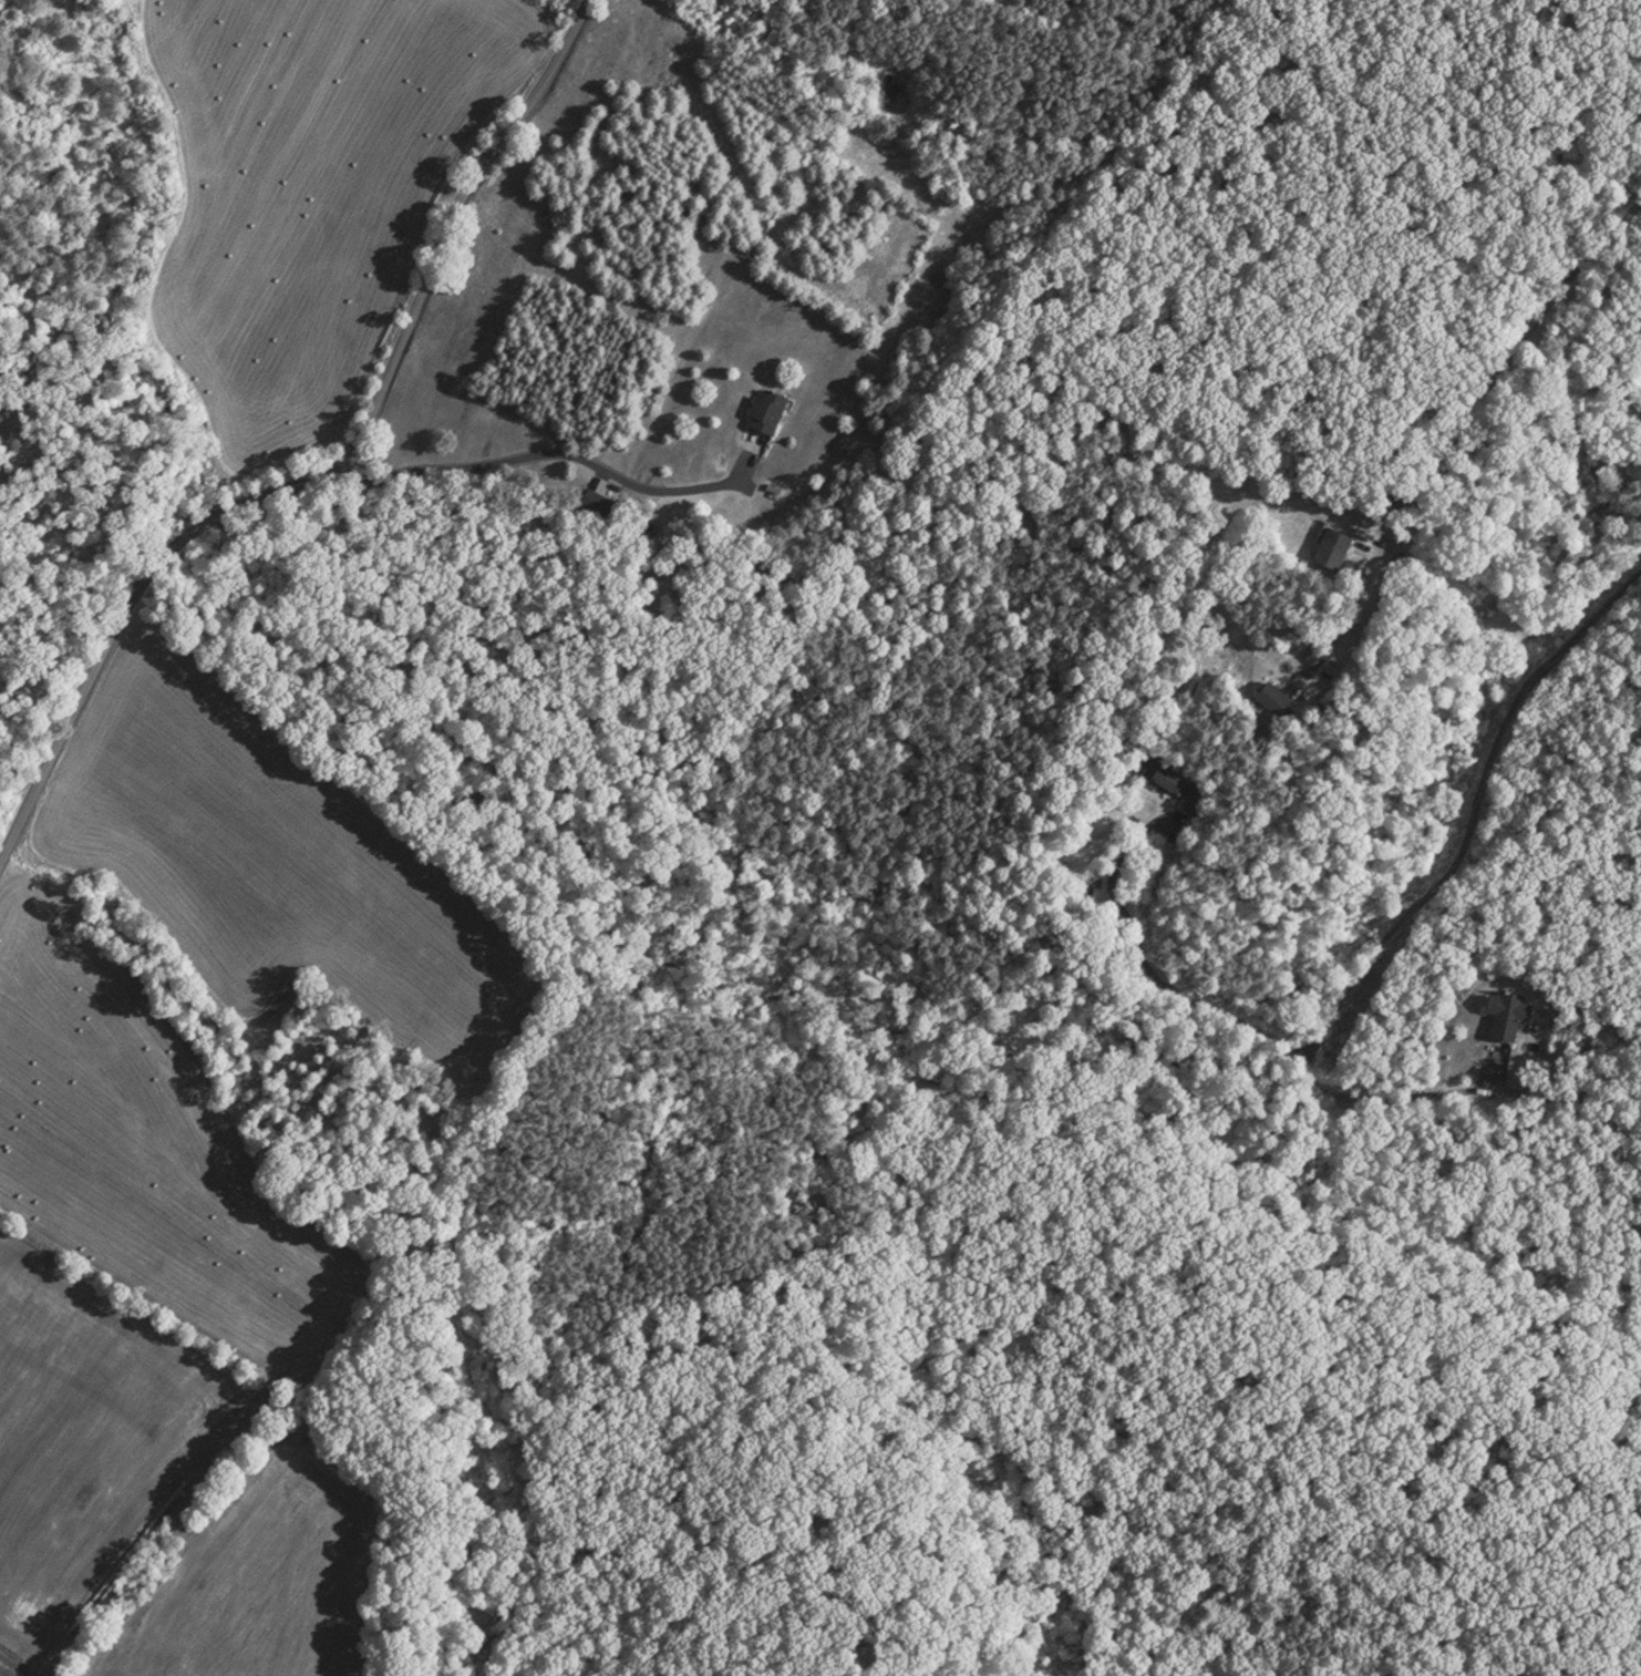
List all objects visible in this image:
road: (1494, 380)
building: (770, 407)
road: (550, 450)
road: (328, 469)
building: (1334, 543)
building: (1283, 696)
building: (1181, 784)
road: (1401, 915)
building: (1511, 1010)
road: (1366, 1106)

